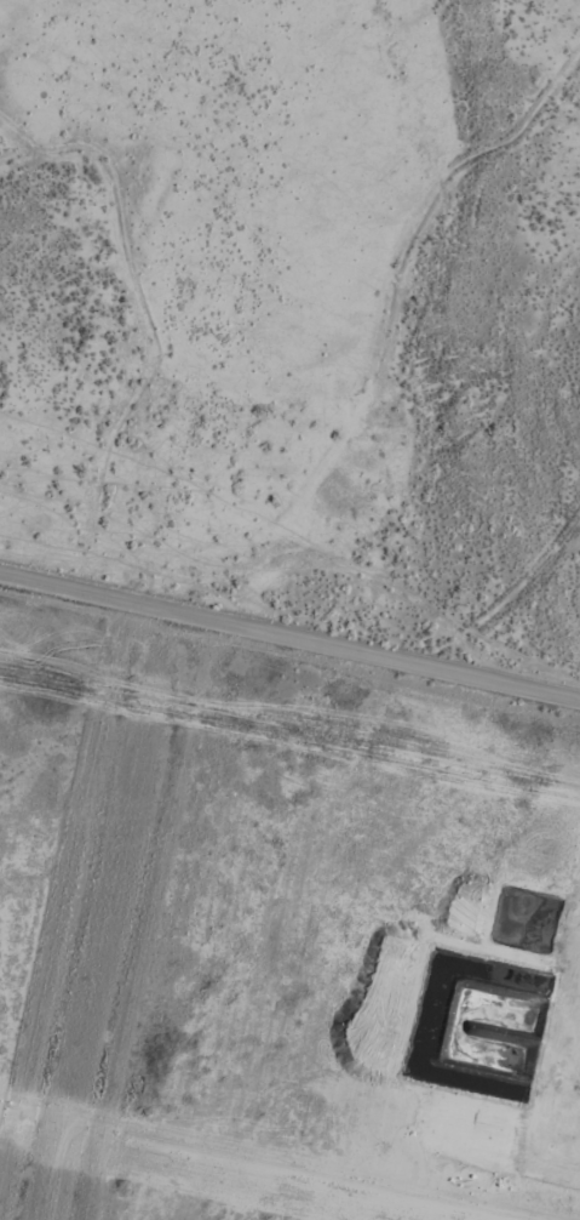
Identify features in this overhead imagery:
building: (569, 1117)

